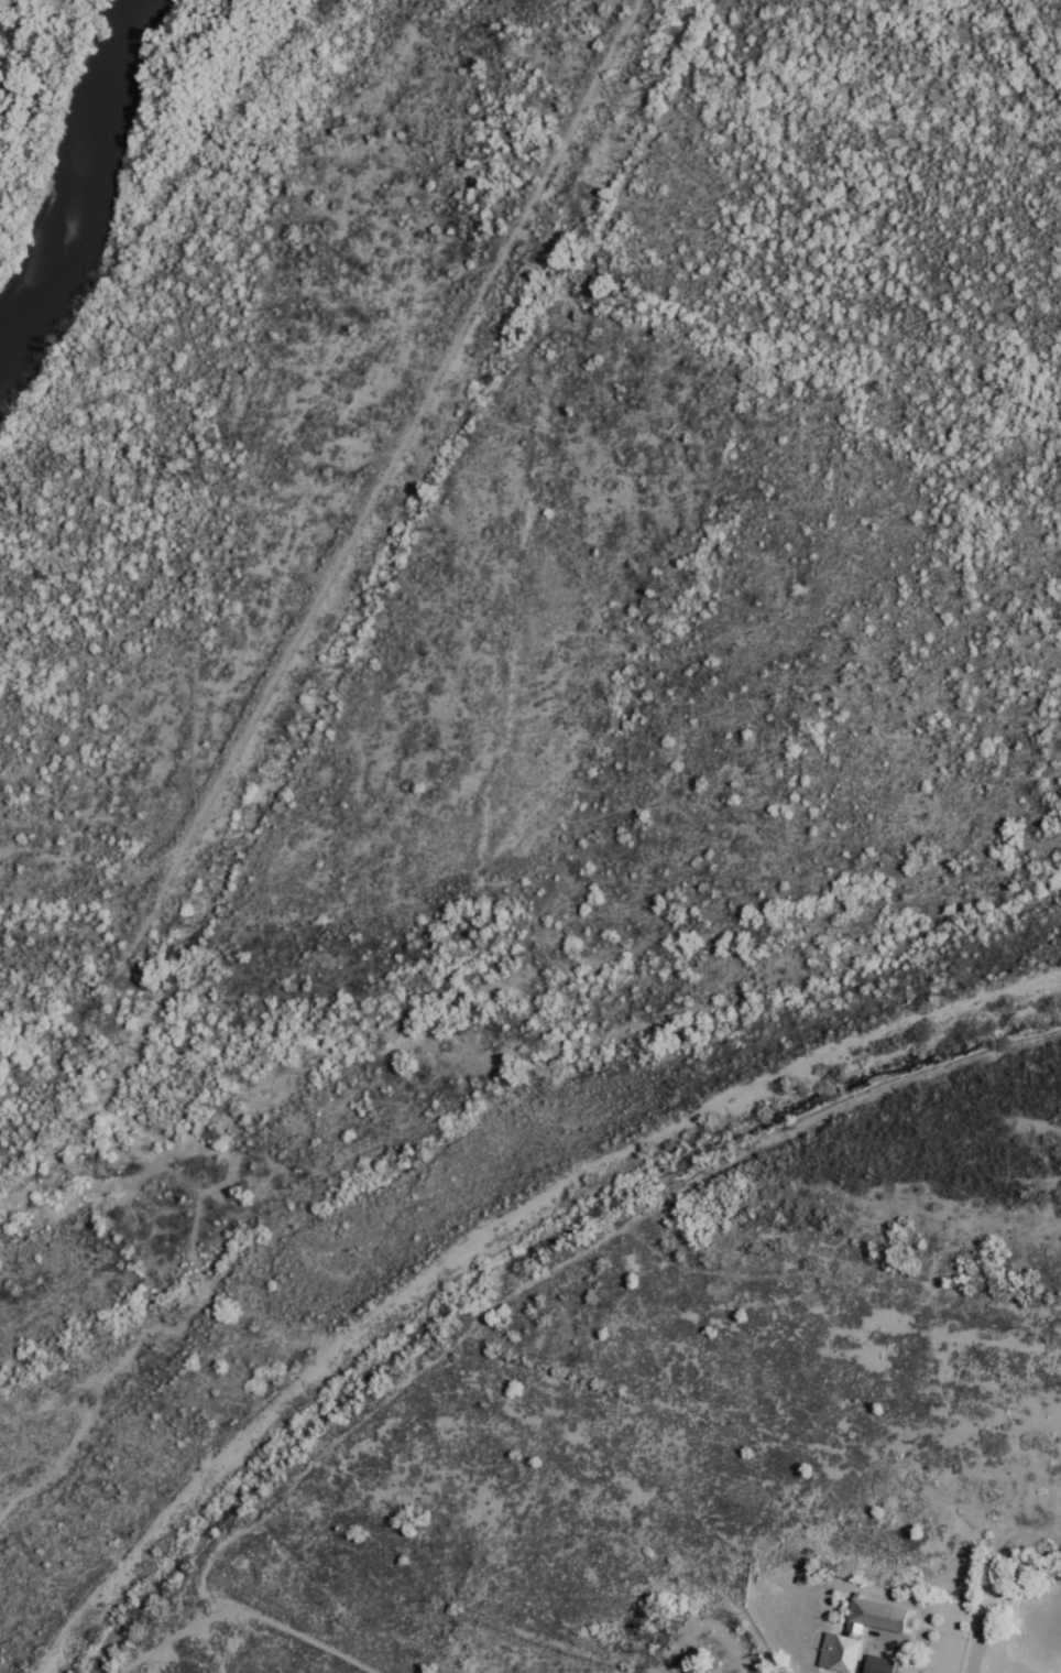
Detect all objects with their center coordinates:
river: (89, 178)
building: (879, 1617)
road: (984, 1623)
road: (187, 1631)
road: (315, 1647)
building: (842, 1654)
building: (879, 1665)

